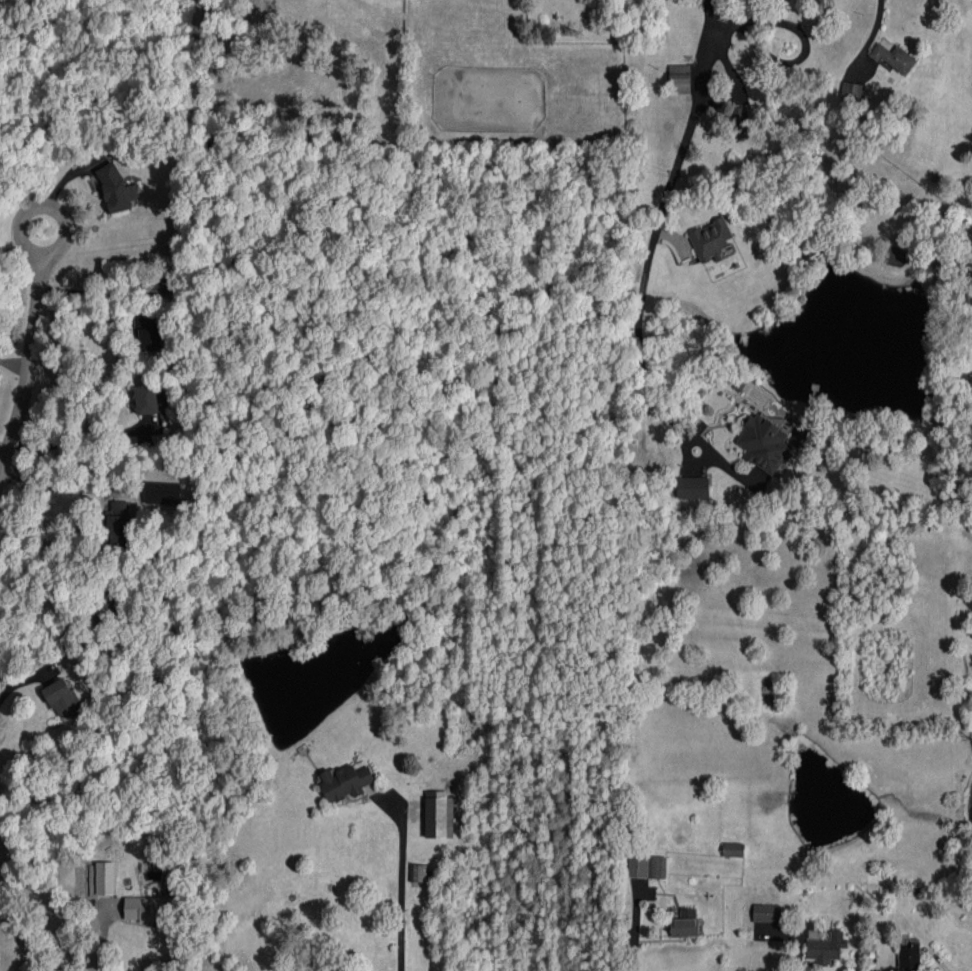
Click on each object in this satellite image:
road: (875, 27)
building: (893, 58)
building: (680, 78)
building: (852, 90)
building: (740, 118)
building: (116, 189)
road: (16, 199)
road: (59, 214)
road: (659, 224)
building: (711, 239)
road: (12, 252)
road: (100, 296)
building: (148, 332)
road: (15, 364)
road: (28, 375)
building: (147, 399)
building: (800, 437)
road: (76, 439)
building: (764, 443)
road: (5, 447)
road: (55, 485)
building: (693, 487)
building: (163, 493)
building: (118, 523)
building: (105, 604)
road: (43, 636)
building: (62, 696)
building: (345, 782)
building: (439, 814)
building: (733, 849)
building: (647, 867)
building: (418, 873)
building: (105, 878)
road: (400, 880)
building: (149, 908)
building: (767, 913)
building: (685, 923)
road: (633, 926)
road: (104, 942)
building: (827, 948)
building: (910, 957)

